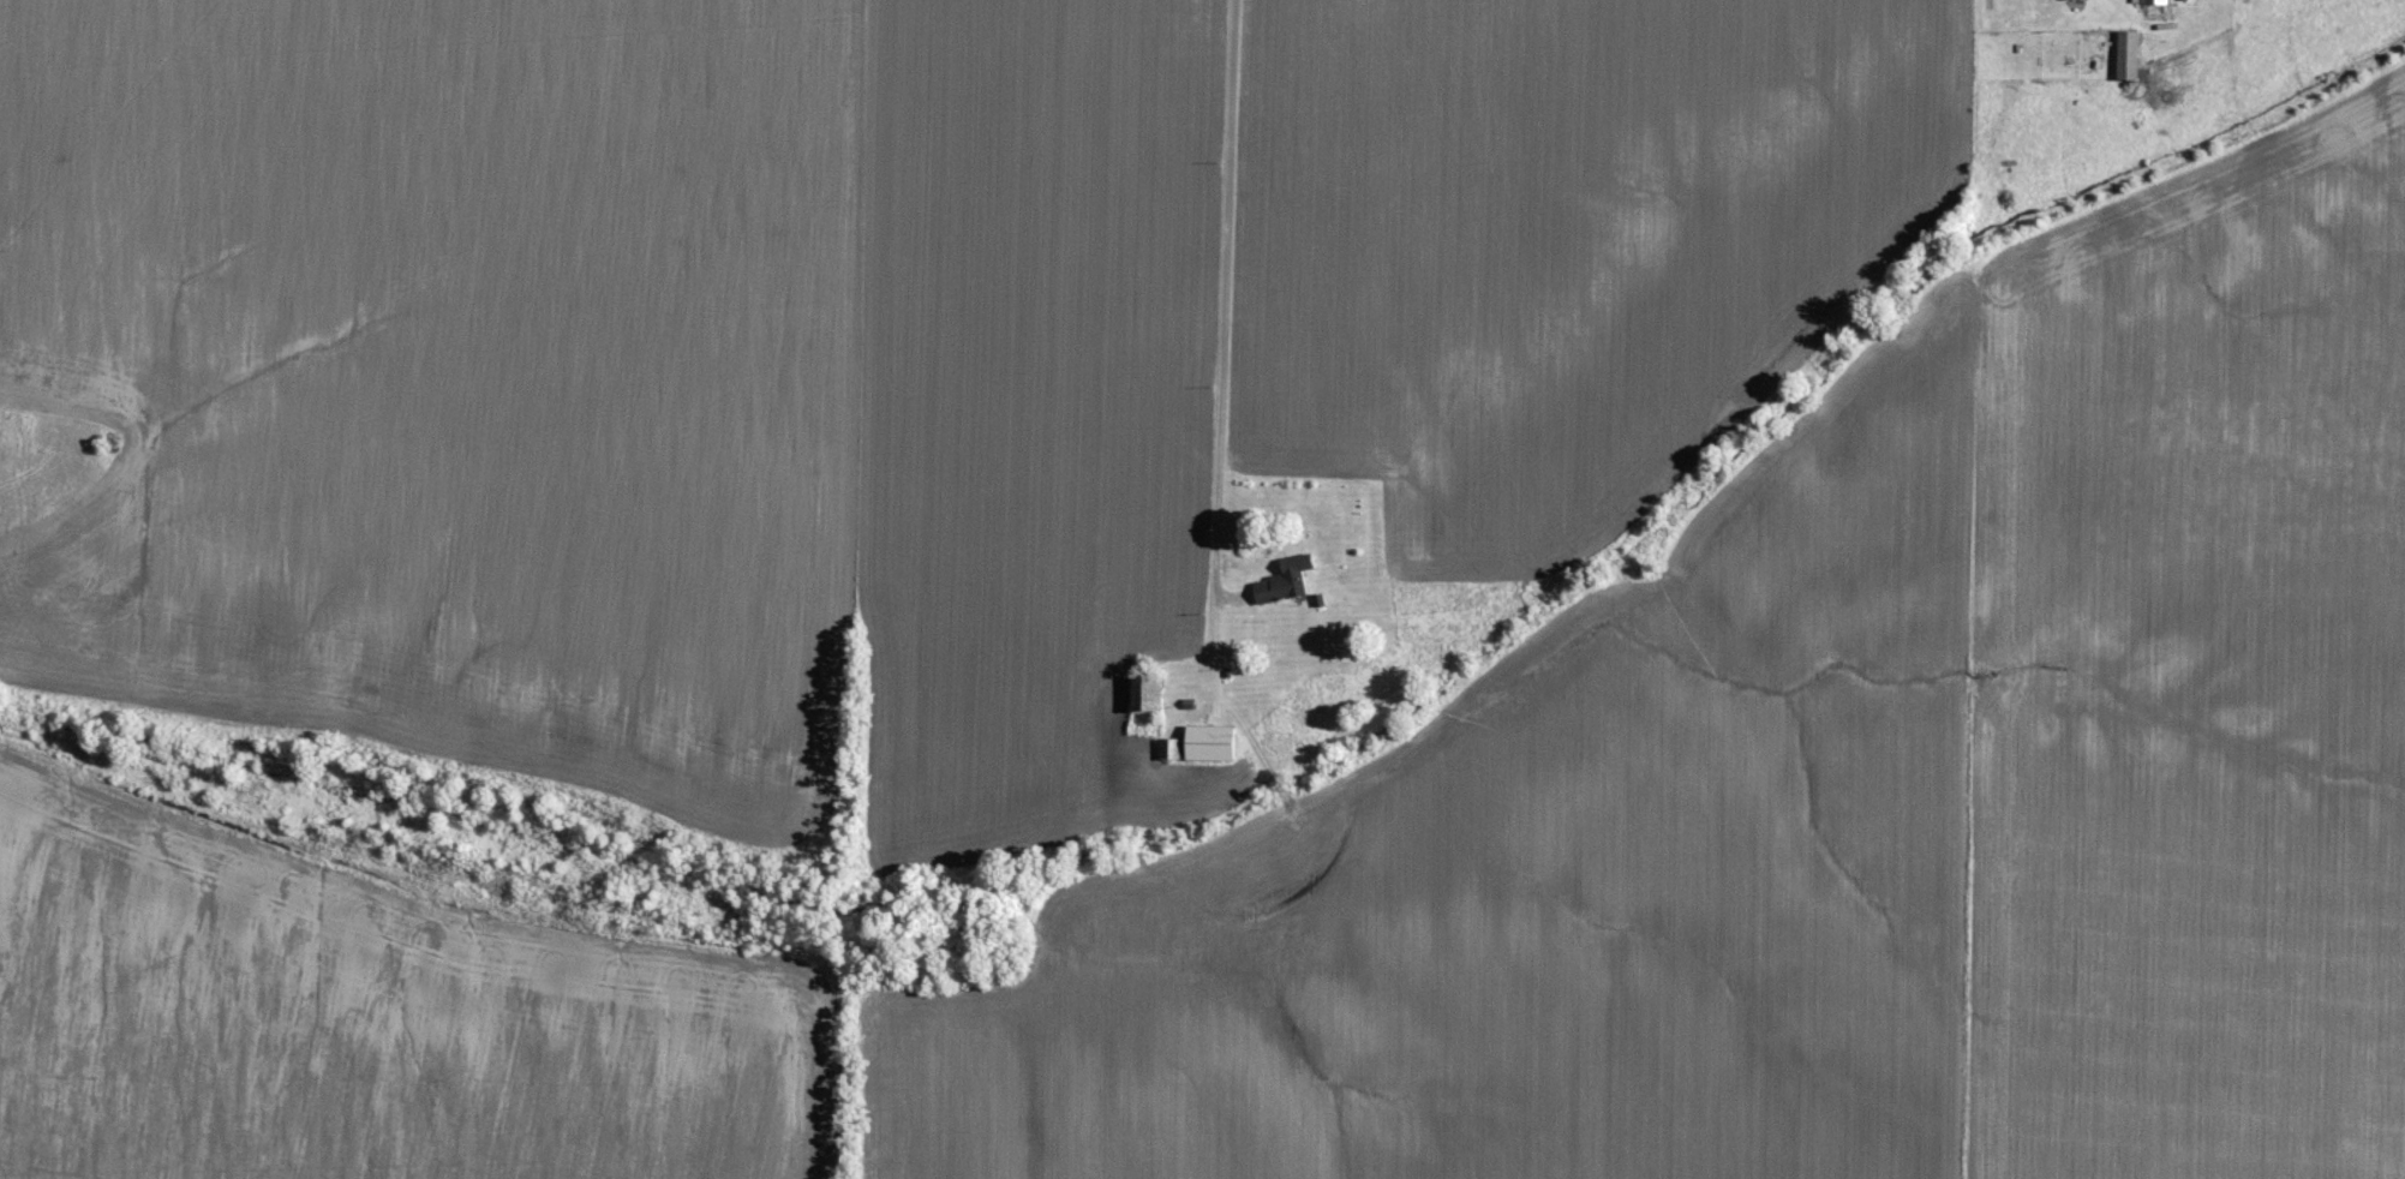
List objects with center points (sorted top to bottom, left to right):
building: (2152, 1)
building: (2130, 43)
road: (1225, 349)
building: (1278, 586)
building: (1212, 742)
building: (1172, 748)

